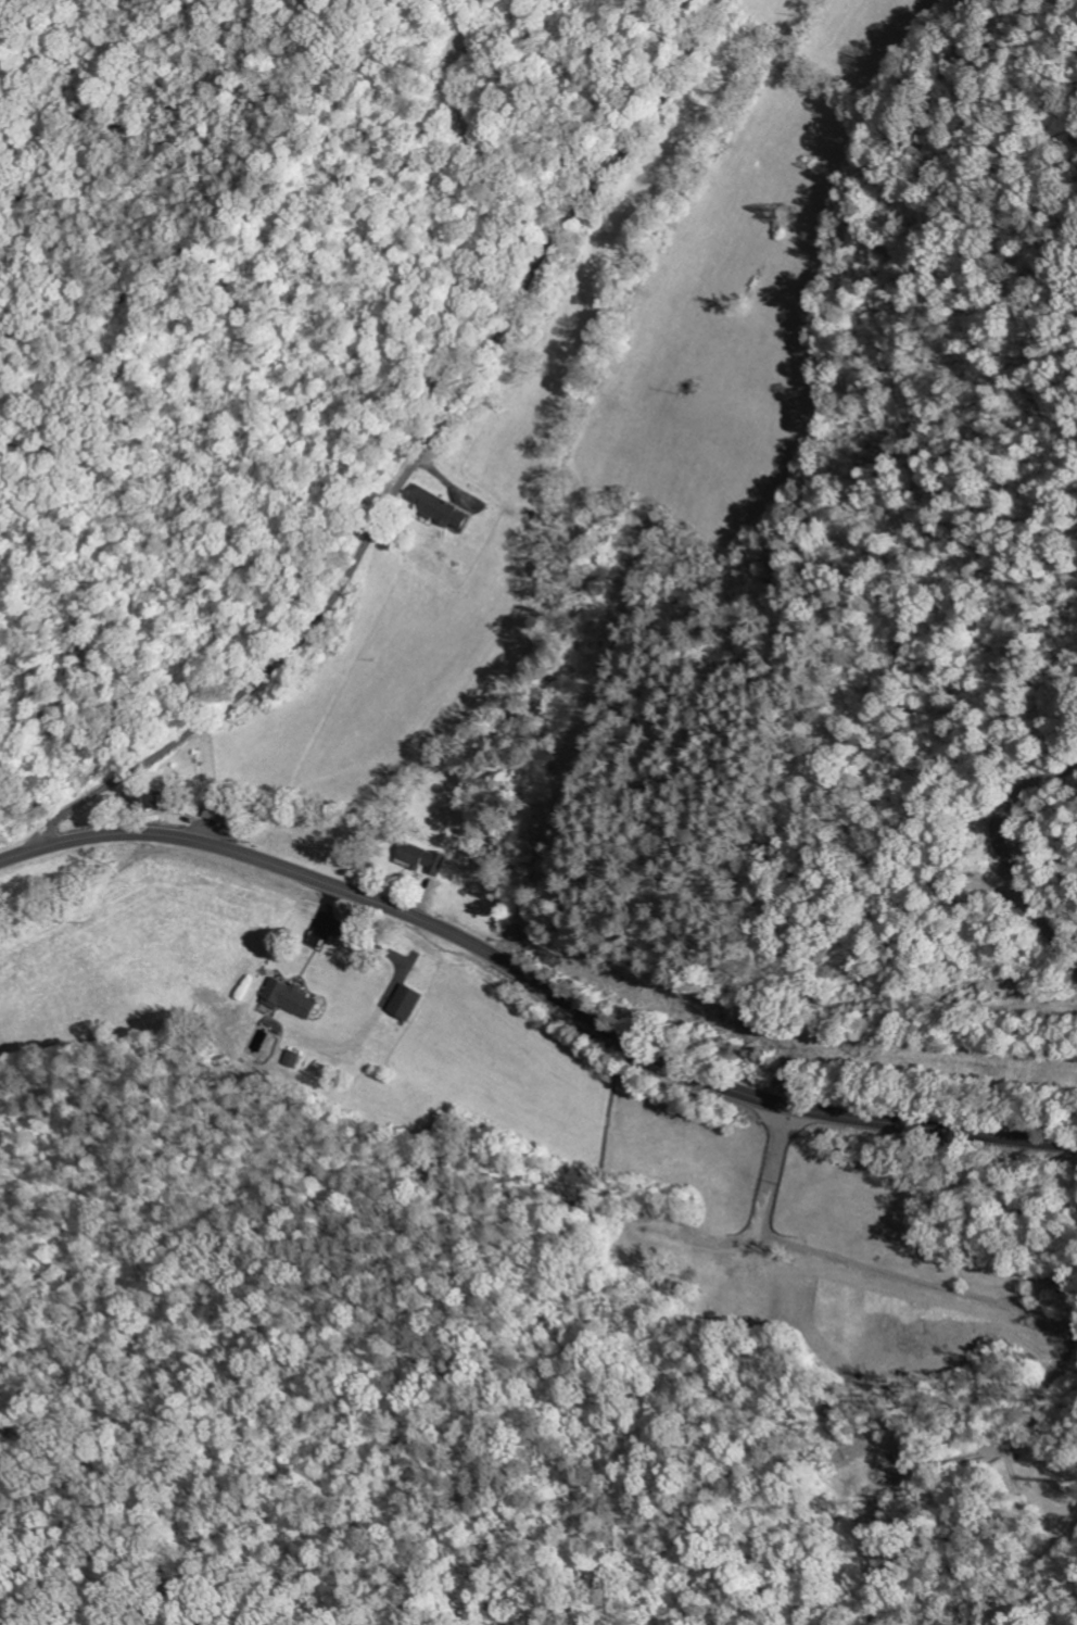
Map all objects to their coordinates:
road: (407, 477)
building: (441, 511)
building: (152, 803)
building: (422, 860)
road: (538, 983)
building: (291, 1000)
building: (406, 1005)
building: (294, 1060)

